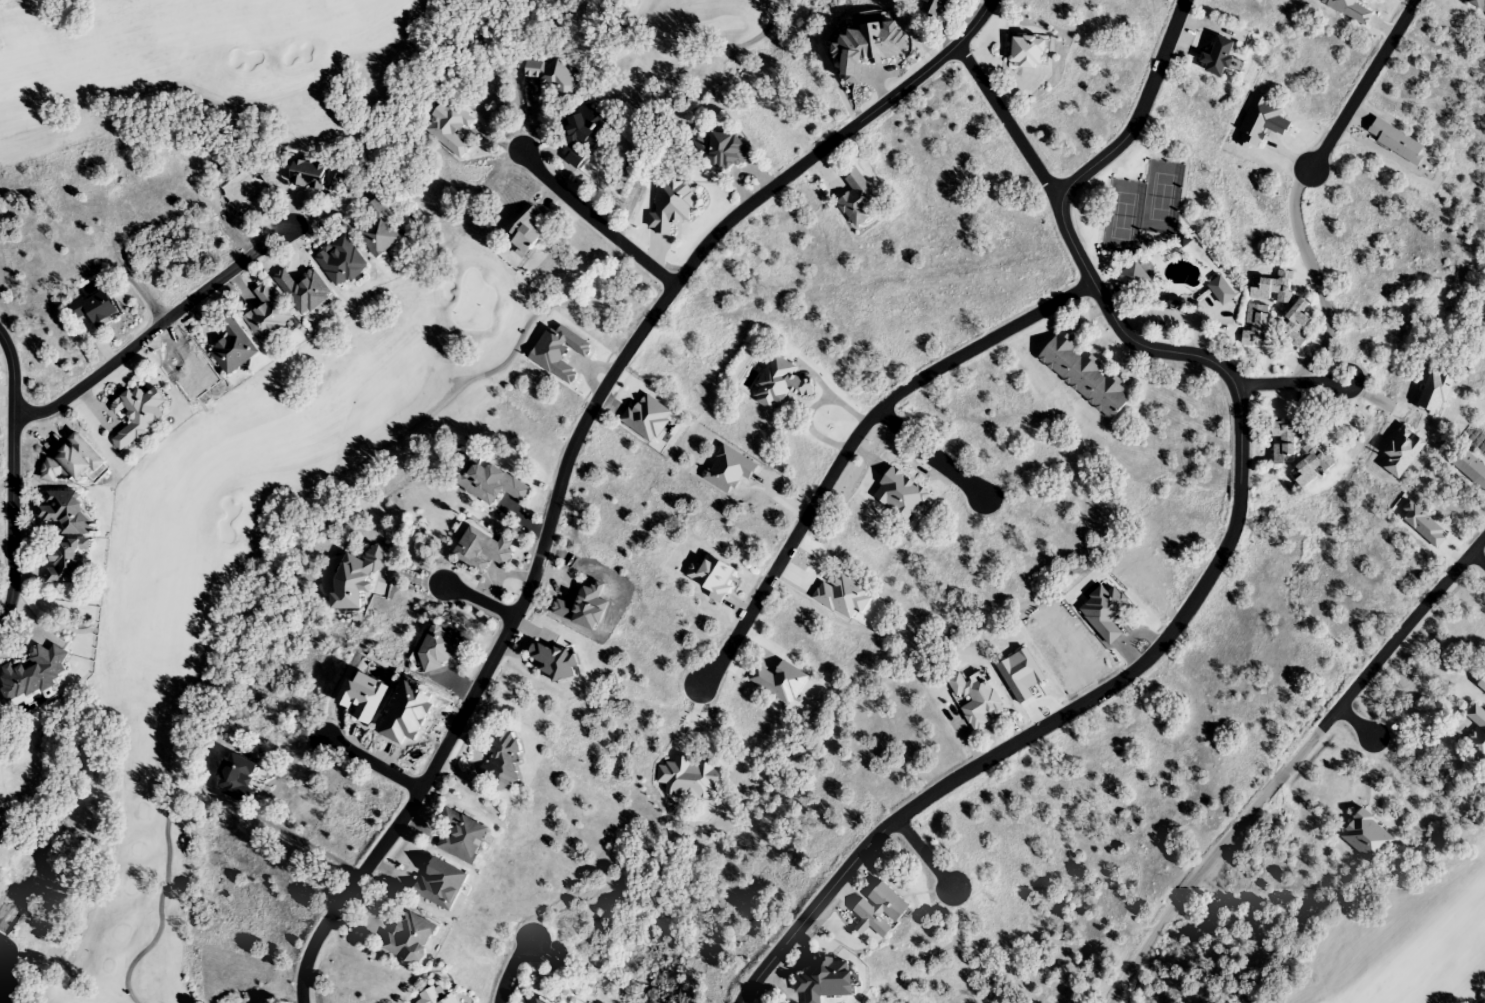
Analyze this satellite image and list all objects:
building: (1477, 3)
building: (939, 8)
building: (1351, 10)
building: (1028, 52)
building: (1219, 58)
building: (552, 78)
road: (1360, 110)
road: (1137, 113)
building: (1262, 121)
road: (1007, 122)
building: (587, 126)
building: (1396, 142)
building: (721, 151)
building: (571, 157)
building: (317, 178)
road: (1297, 184)
building: (857, 198)
road: (595, 221)
building: (378, 230)
building: (527, 232)
building: (341, 263)
building: (1131, 279)
road: (139, 287)
building: (1273, 288)
building: (95, 308)
building: (267, 315)
building: (1296, 325)
building: (1254, 327)
road: (153, 329)
building: (232, 349)
building: (1085, 376)
building: (779, 384)
road: (1291, 384)
park: (266, 409)
building: (140, 415)
road: (851, 438)
building: (1284, 443)
road: (570, 449)
road: (929, 454)
building: (1312, 466)
building: (729, 470)
road: (12, 477)
building: (489, 483)
building: (66, 513)
building: (481, 550)
road: (1478, 555)
building: (66, 563)
building: (712, 578)
road: (480, 603)
road: (1159, 646)
building: (438, 649)
building: (558, 660)
building: (1482, 684)
building: (361, 695)
building: (975, 698)
road: (1356, 721)
building: (1476, 734)
building: (502, 761)
road: (1289, 762)
road: (370, 763)
building: (235, 777)
building: (460, 835)
road: (926, 857)
building: (439, 882)
building: (880, 909)
park: (1400, 935)
building: (409, 937)
road: (510, 967)
building: (825, 979)
building: (436, 995)
building: (535, 1002)

